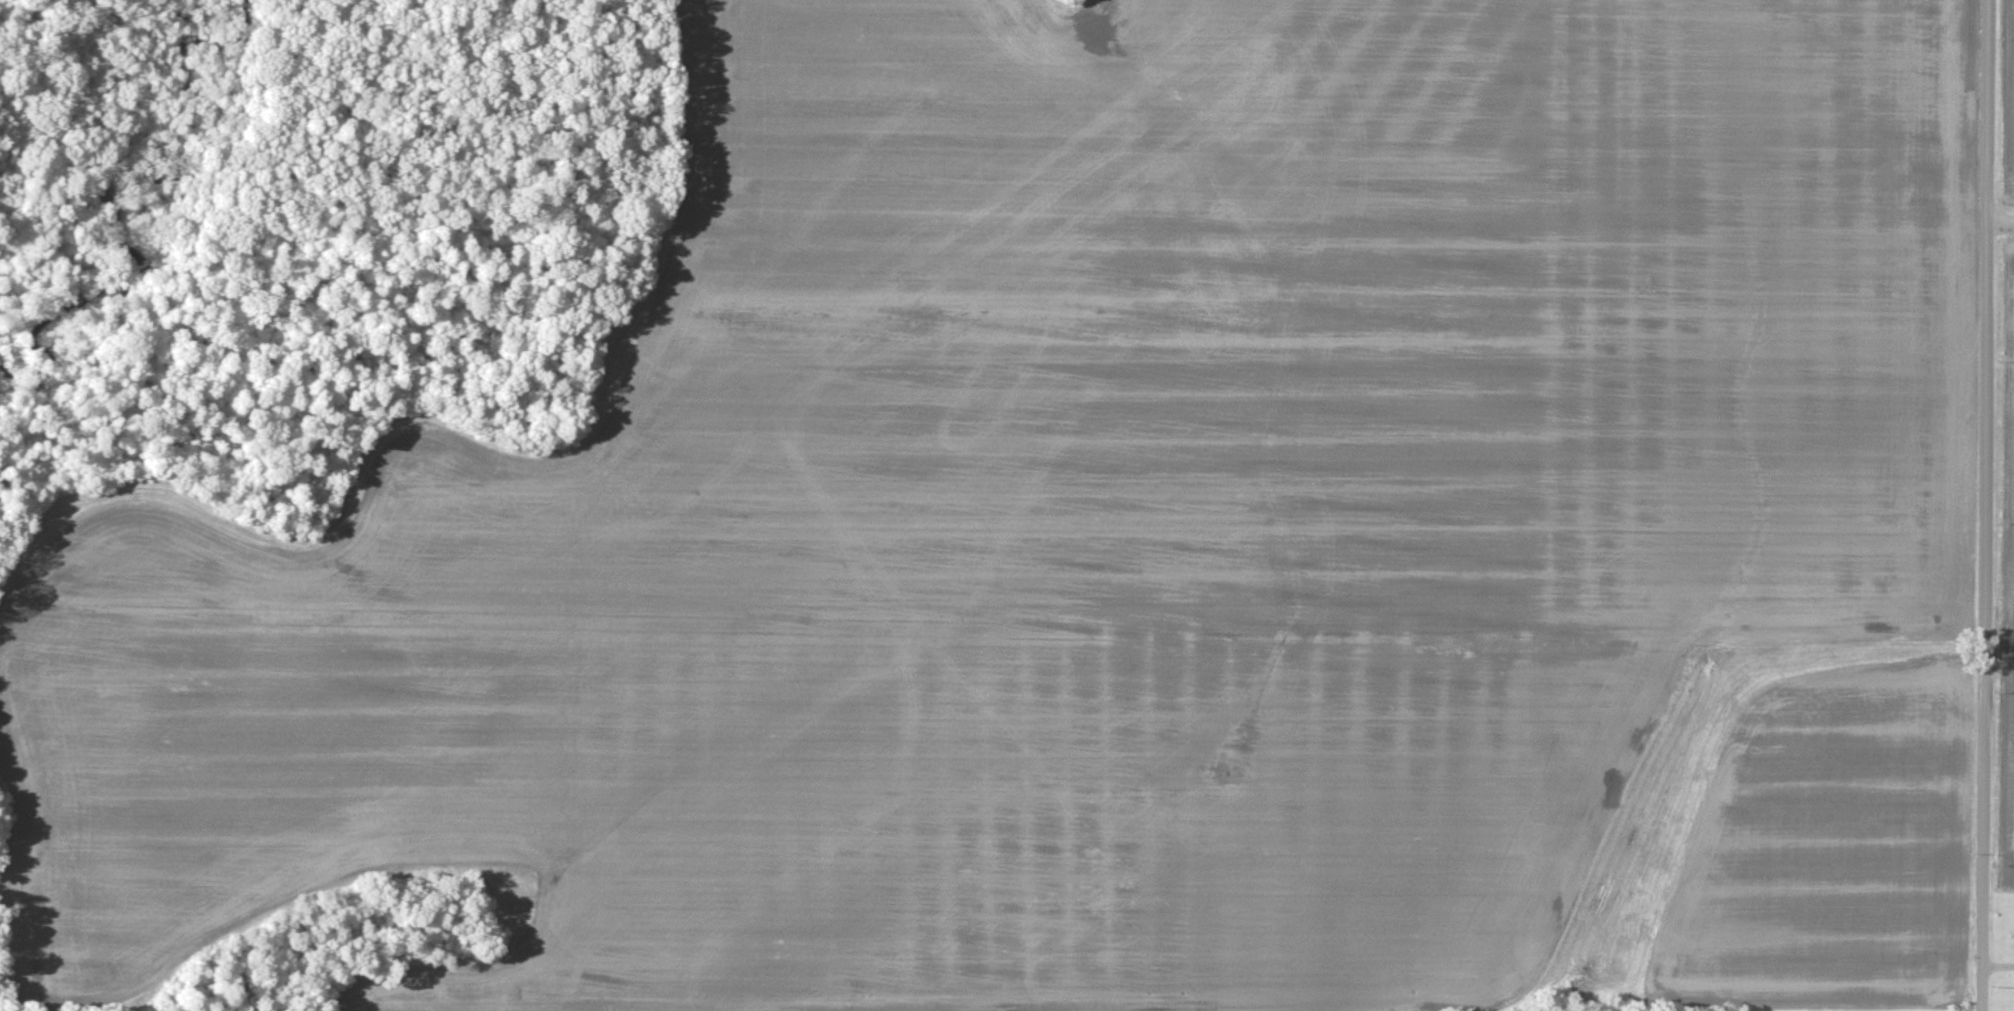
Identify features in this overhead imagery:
road: (2002, 222)
road: (1989, 505)

